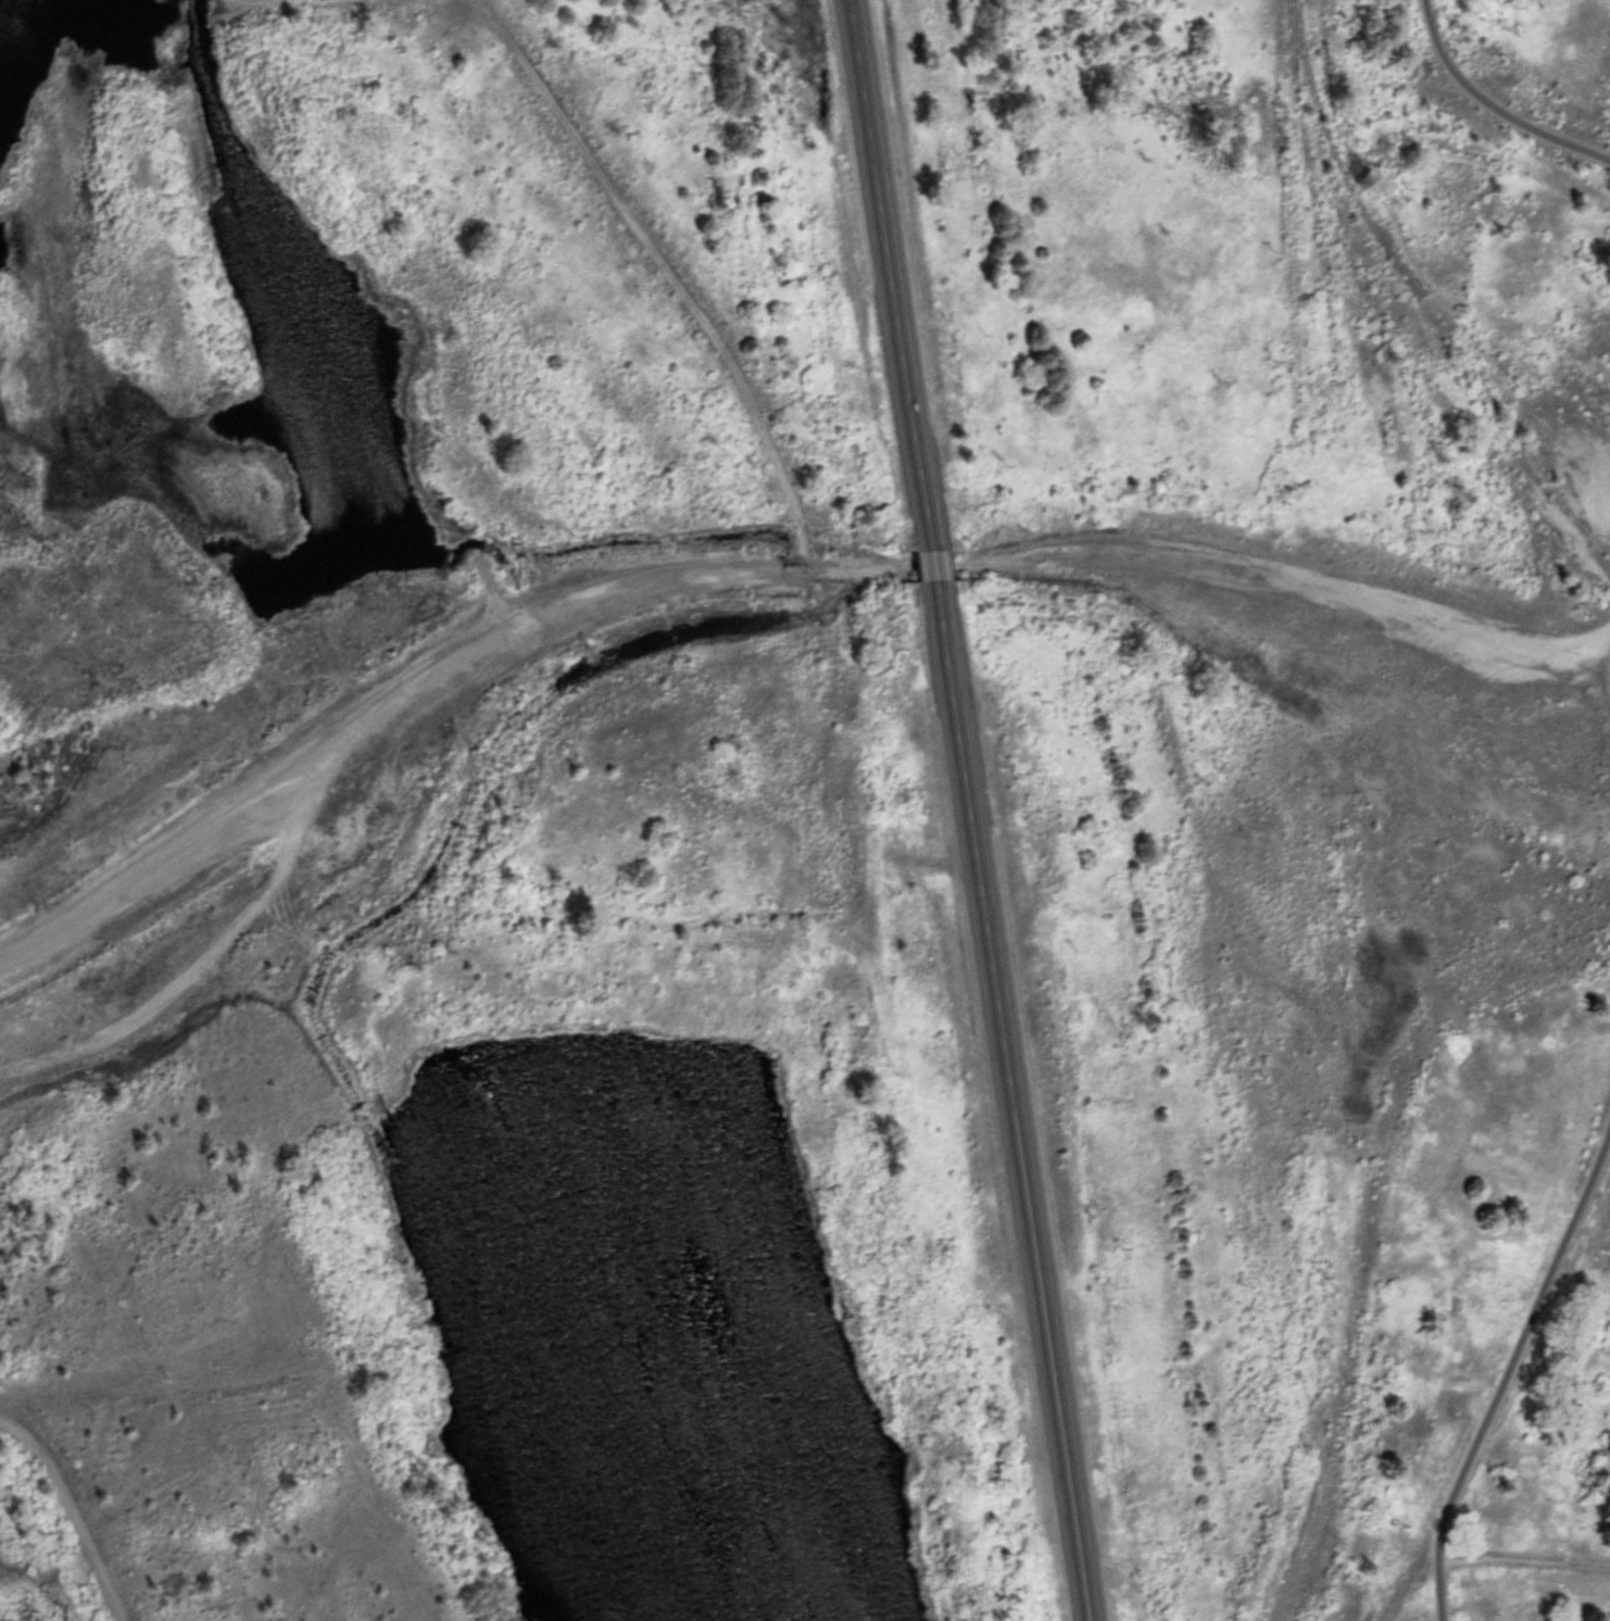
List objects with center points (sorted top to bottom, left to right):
road: (1484, 108)
road: (670, 268)
road: (891, 272)
road: (933, 561)
road: (758, 575)
road: (188, 966)
road: (1006, 1099)
road: (1519, 1320)
road: (55, 1530)

